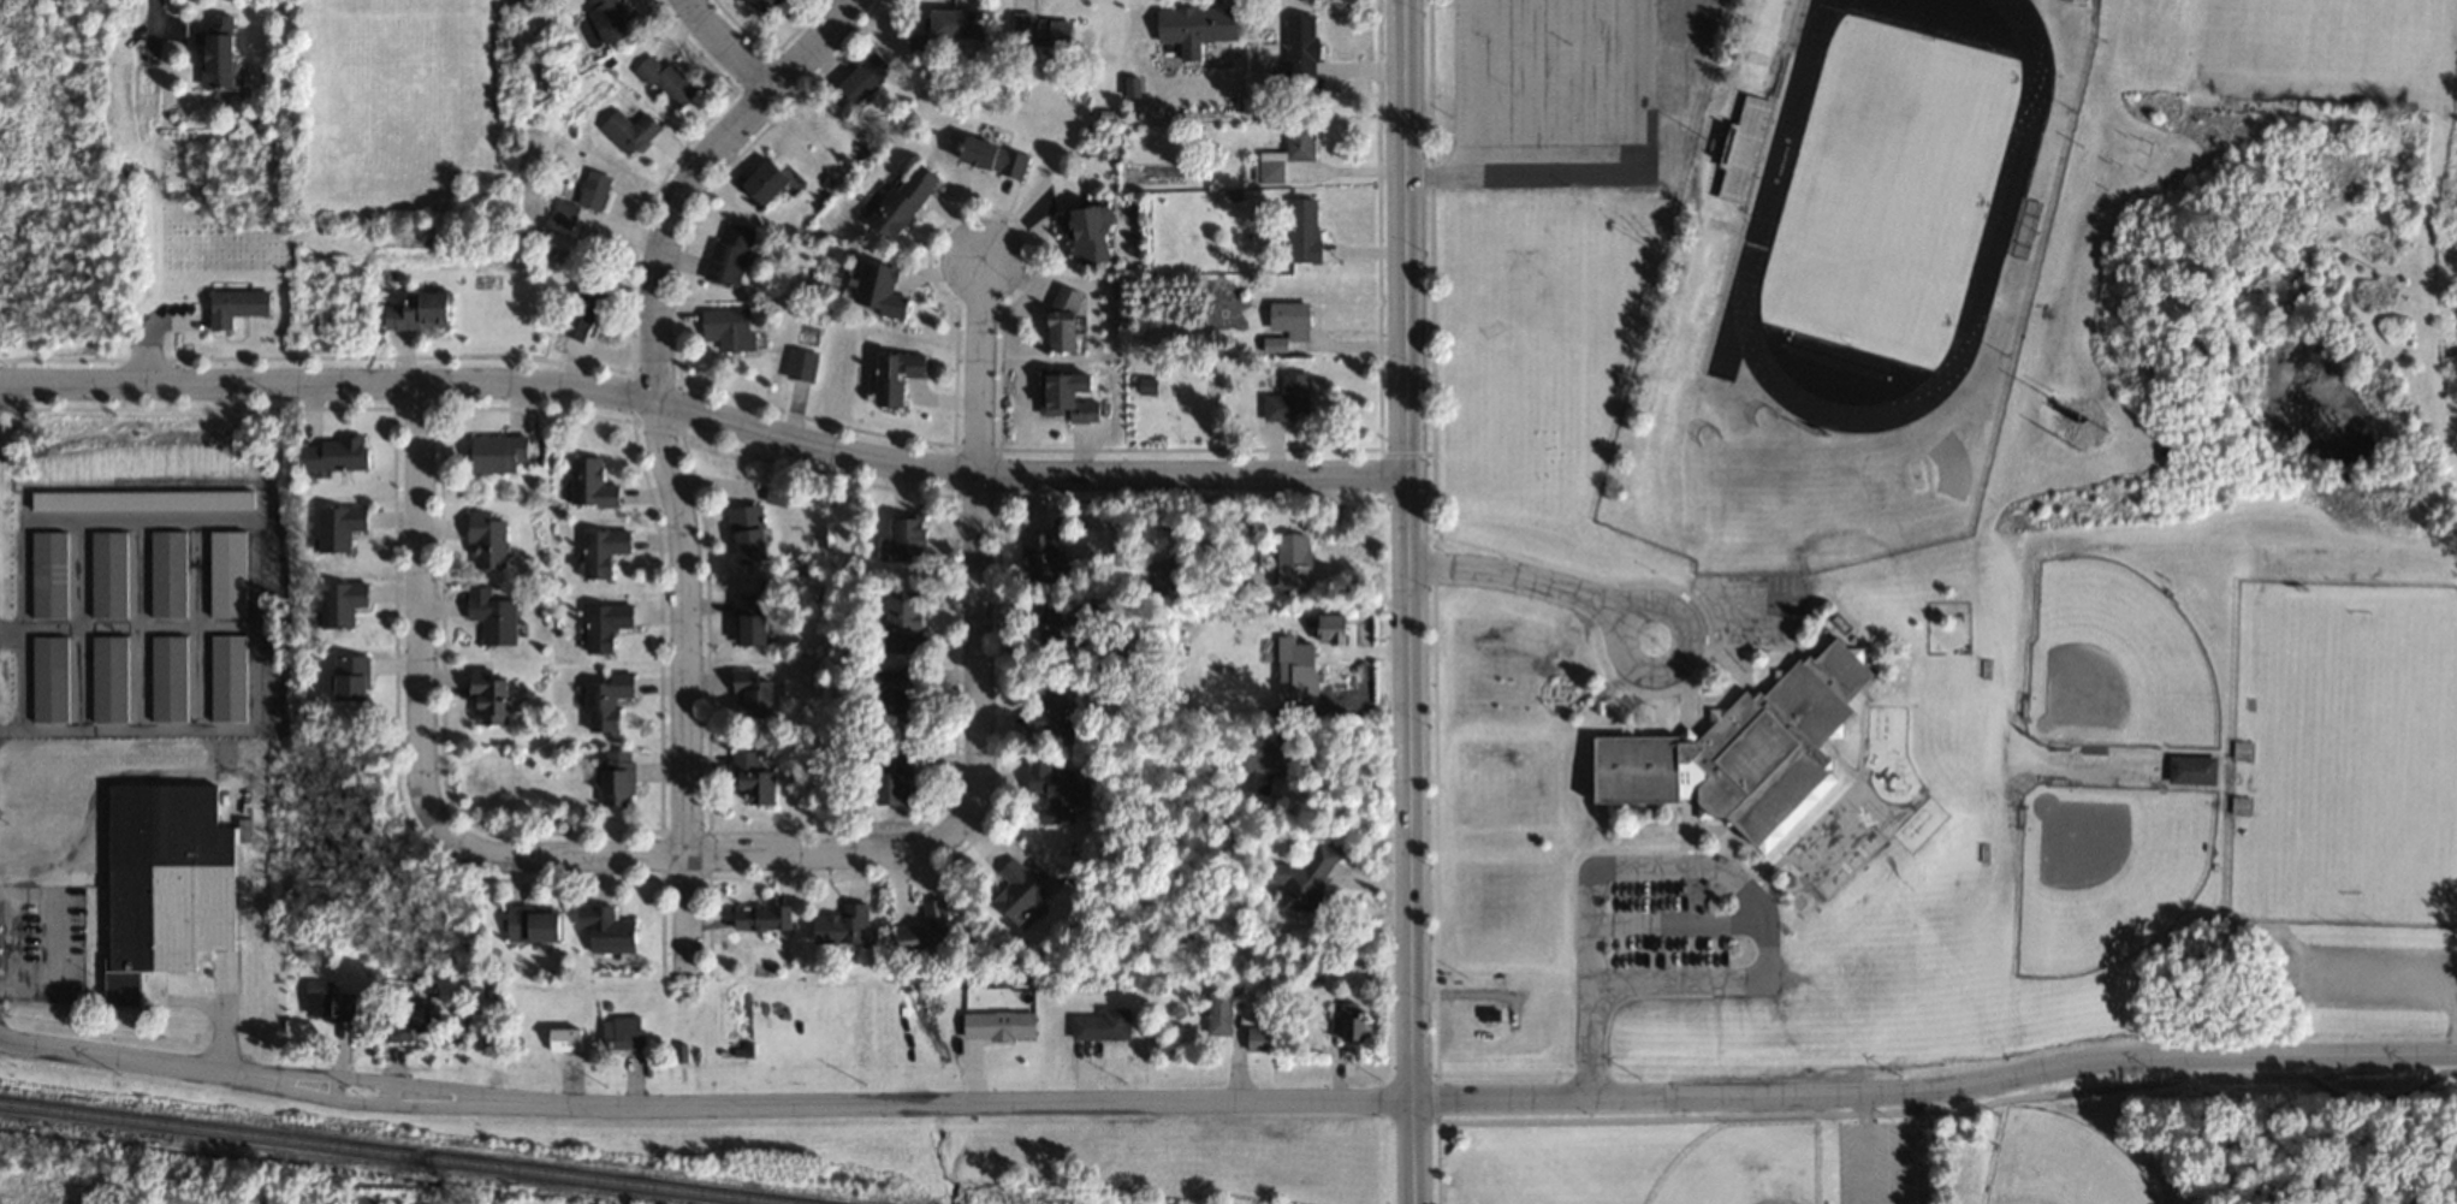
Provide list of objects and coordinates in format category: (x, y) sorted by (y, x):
building: (759, 5)
road: (153, 12)
building: (605, 19)
building: (1192, 24)
building: (939, 29)
building: (1039, 29)
park: (2370, 38)
building: (1298, 46)
road: (726, 47)
building: (212, 49)
building: (861, 77)
building: (664, 81)
road: (1474, 85)
parking lot: (1553, 91)
building: (1749, 114)
building: (625, 130)
building: (1284, 152)
building: (987, 156)
road: (1602, 172)
building: (760, 180)
park: (1889, 190)
building: (580, 198)
building: (898, 200)
building: (1300, 230)
building: (1080, 232)
building: (726, 254)
building: (873, 290)
building: (233, 306)
building: (413, 312)
building: (577, 313)
building: (1058, 321)
building: (1283, 322)
building: (725, 327)
road: (148, 333)
park: (1512, 352)
building: (800, 364)
building: (891, 376)
road: (47, 386)
building: (1284, 398)
building: (1061, 399)
road: (752, 427)
building: (492, 452)
road: (664, 452)
building: (326, 453)
building: (588, 482)
building: (336, 527)
building: (746, 533)
building: (903, 539)
building: (483, 541)
building: (1287, 548)
road: (1408, 550)
building: (600, 551)
building: (1035, 558)
building: (44, 574)
building: (105, 574)
building: (165, 574)
road: (1512, 576)
building: (1159, 580)
building: (338, 603)
building: (489, 616)
building: (750, 619)
building: (898, 622)
building: (603, 624)
building: (1052, 624)
park: (2113, 660)
road: (1661, 669)
building: (1295, 672)
building: (46, 678)
building: (106, 678)
building: (165, 678)
building: (224, 678)
building: (346, 678)
road: (981, 683)
building: (889, 690)
building: (483, 695)
building: (749, 695)
building: (604, 701)
building: (1049, 711)
road: (419, 736)
building: (2247, 751)
building: (1737, 753)
park: (2357, 753)
building: (2189, 769)
building: (888, 775)
building: (612, 777)
building: (749, 778)
building: (1049, 791)
building: (2243, 806)
park: (2105, 868)
building: (1300, 882)
building: (160, 883)
building: (1014, 891)
building: (759, 919)
building: (526, 924)
building: (838, 926)
building: (603, 929)
building: (922, 931)
road: (2388, 967)
building: (326, 1002)
building: (1217, 1013)
building: (1345, 1021)
building: (404, 1022)
building: (995, 1025)
building: (1100, 1025)
building: (621, 1032)
building: (562, 1039)
building: (1258, 1039)
building: (740, 1050)
road: (131, 1058)
road: (375, 1079)
road: (1473, 1099)
road: (372, 1102)
road: (1939, 1111)
park: (1988, 1144)
road: (1413, 1152)
park: (2060, 1163)
park: (1745, 1167)

